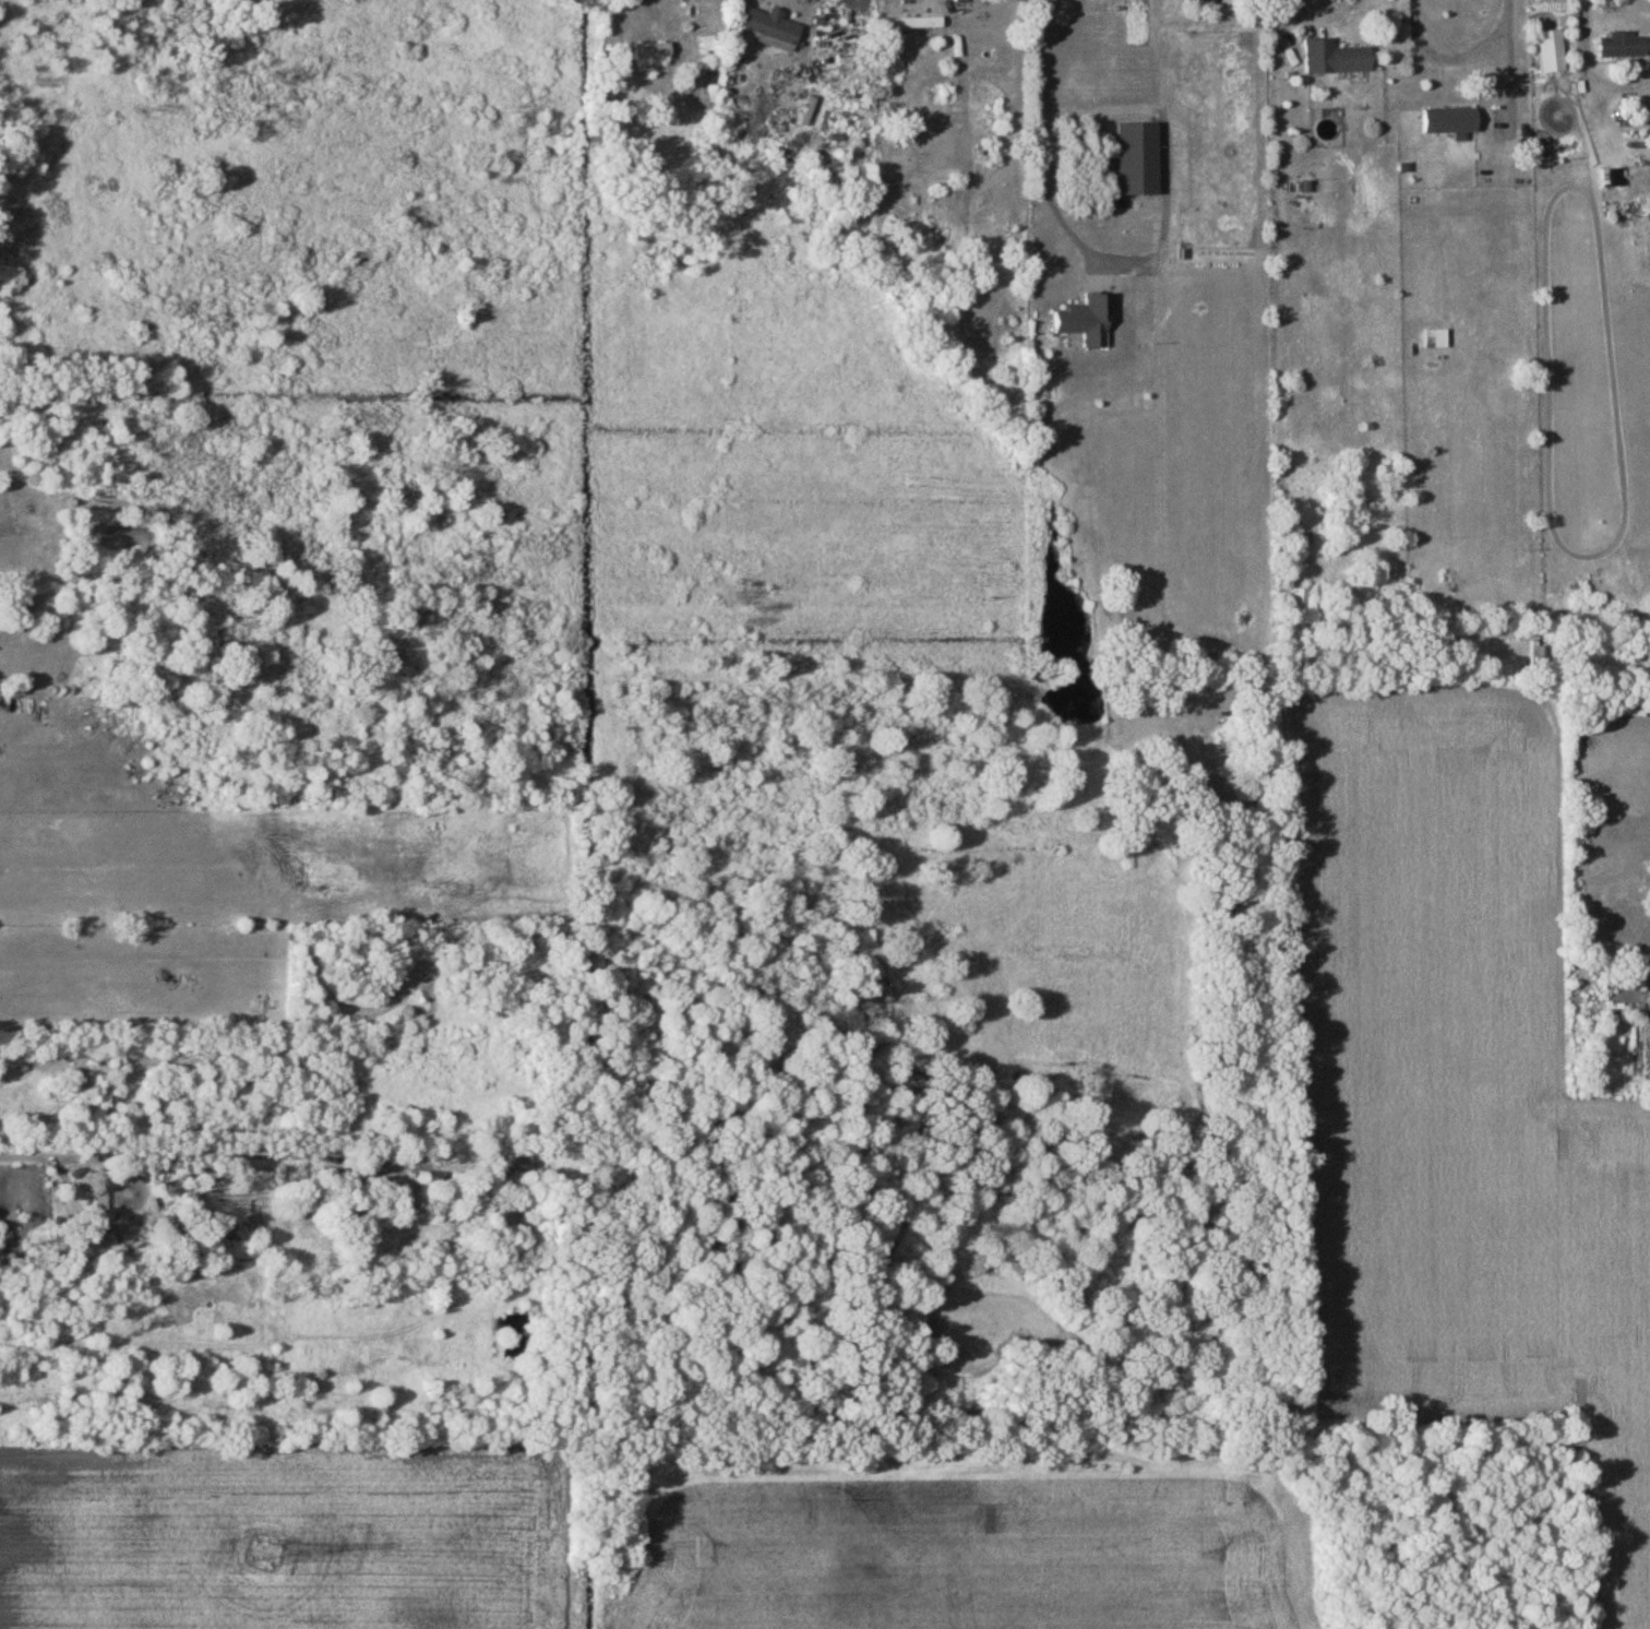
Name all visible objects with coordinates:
road: (1328, 13)
building: (916, 22)
road: (1581, 22)
building: (770, 25)
building: (1621, 45)
building: (653, 50)
building: (1550, 50)
road: (1459, 53)
building: (1334, 57)
building: (1448, 119)
road: (1035, 156)
building: (1085, 318)
building: (1300, 598)
power tower: (264, 1549)

